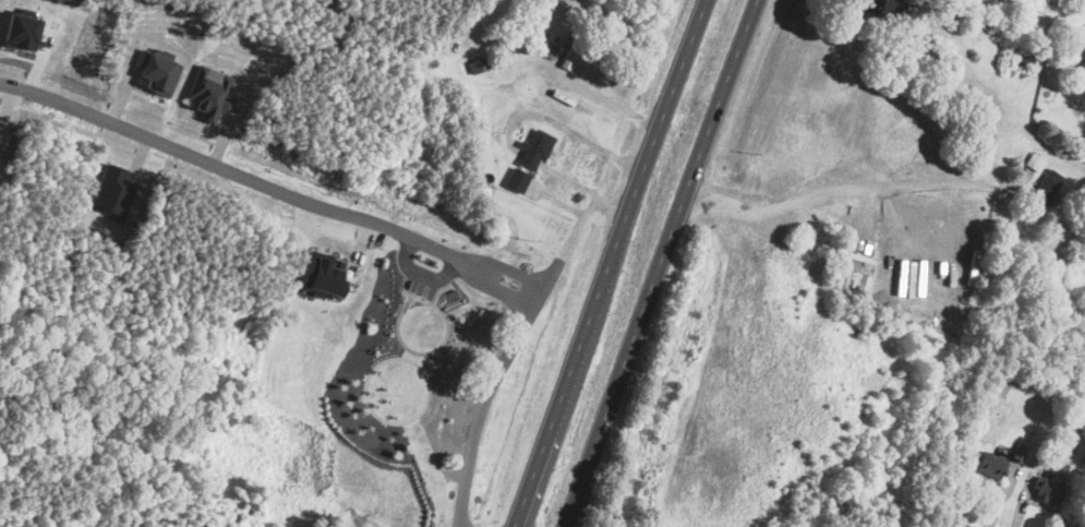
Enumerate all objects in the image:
building: (881, 7)
building: (957, 10)
building: (986, 20)
building: (22, 29)
building: (577, 45)
building: (551, 50)
building: (1025, 51)
building: (1082, 56)
building: (481, 63)
building: (156, 71)
building: (966, 91)
building: (209, 92)
road: (598, 94)
road: (562, 124)
building: (537, 147)
road: (557, 149)
road: (553, 151)
building: (1035, 160)
building: (517, 179)
road: (859, 183)
road: (270, 185)
road: (582, 185)
building: (1048, 185)
building: (113, 191)
road: (893, 197)
road: (565, 204)
road: (608, 262)
road: (658, 262)
building: (324, 274)
road: (489, 388)
building: (1020, 451)
building: (992, 464)
building: (1045, 493)
road: (949, 524)

